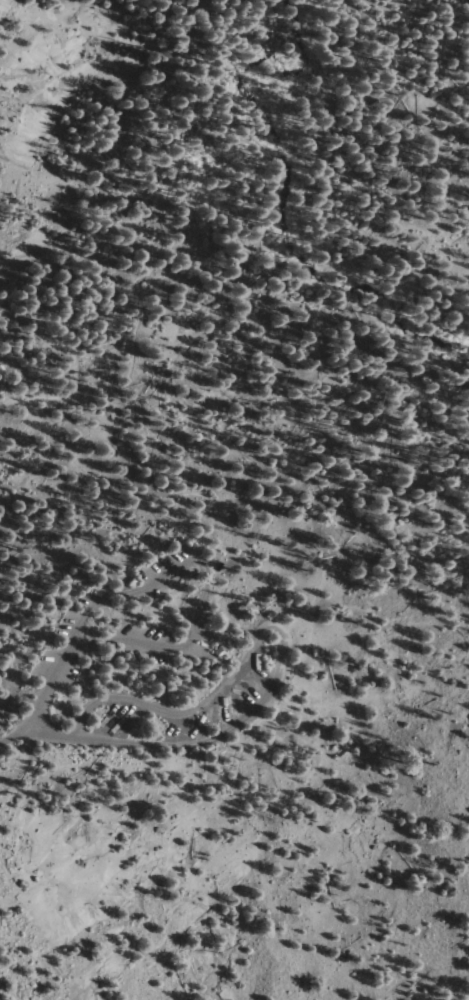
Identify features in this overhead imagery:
road: (106, 236)
road: (89, 397)
road: (5, 507)
road: (201, 510)
road: (227, 586)
road: (282, 636)
parking lot: (159, 651)
road: (16, 666)
road: (18, 723)

